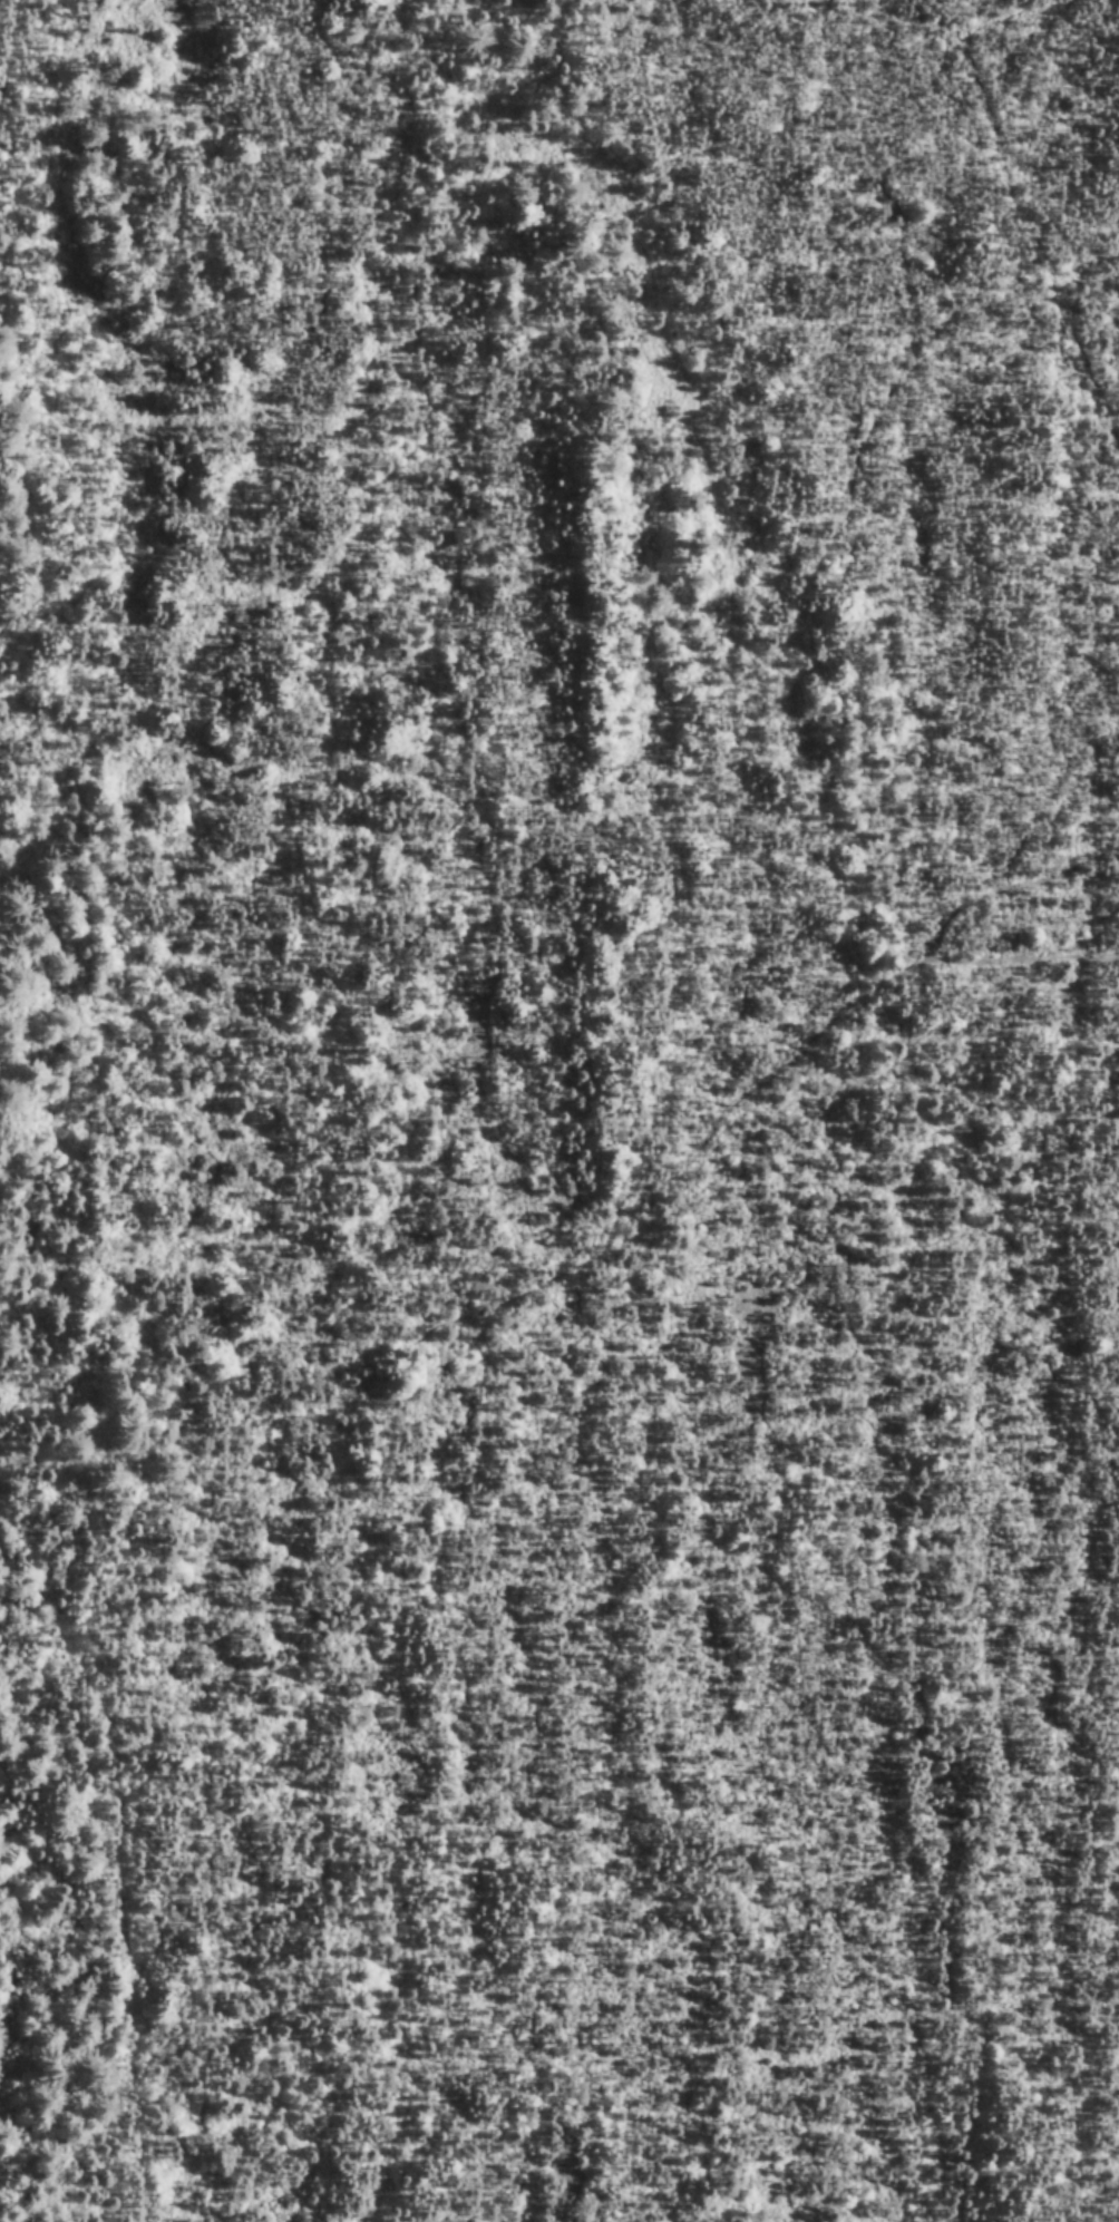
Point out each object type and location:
airport: (1050, 195)

